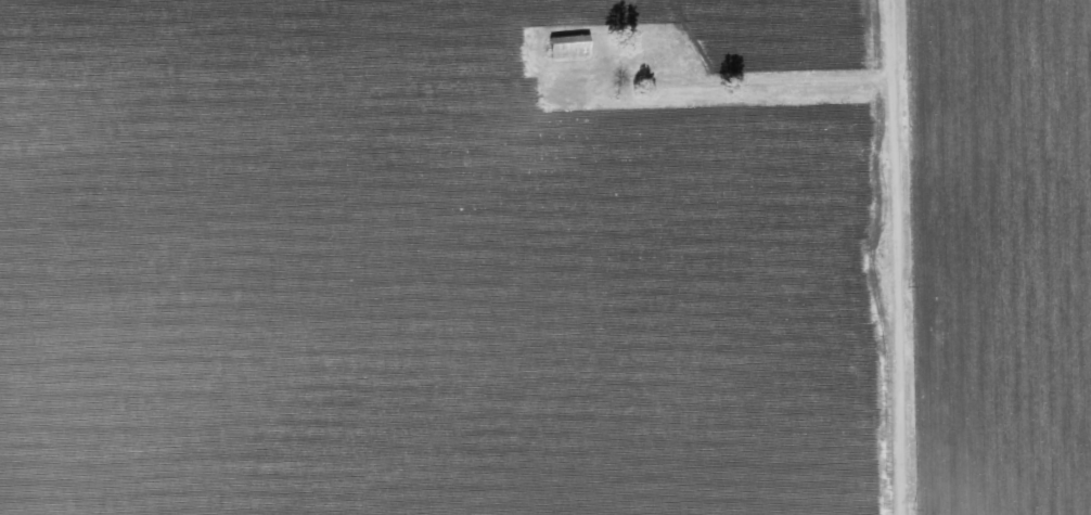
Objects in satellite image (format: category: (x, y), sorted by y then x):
building: (560, 46)
road: (887, 257)

